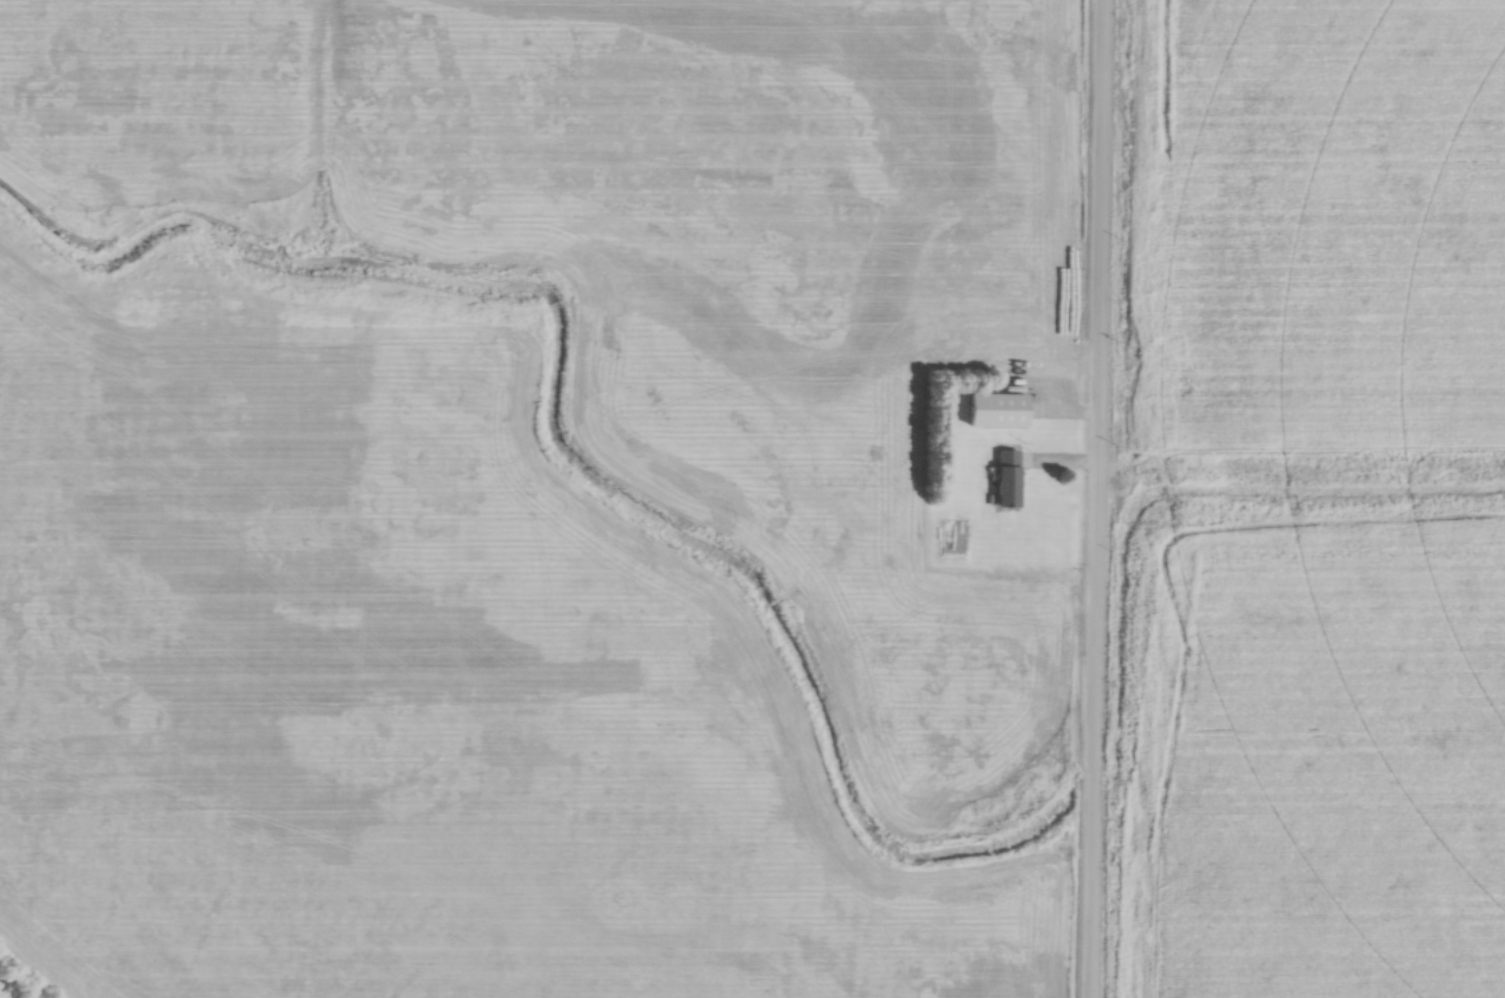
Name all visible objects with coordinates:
building: (1000, 411)
building: (1011, 476)
road: (1097, 499)

